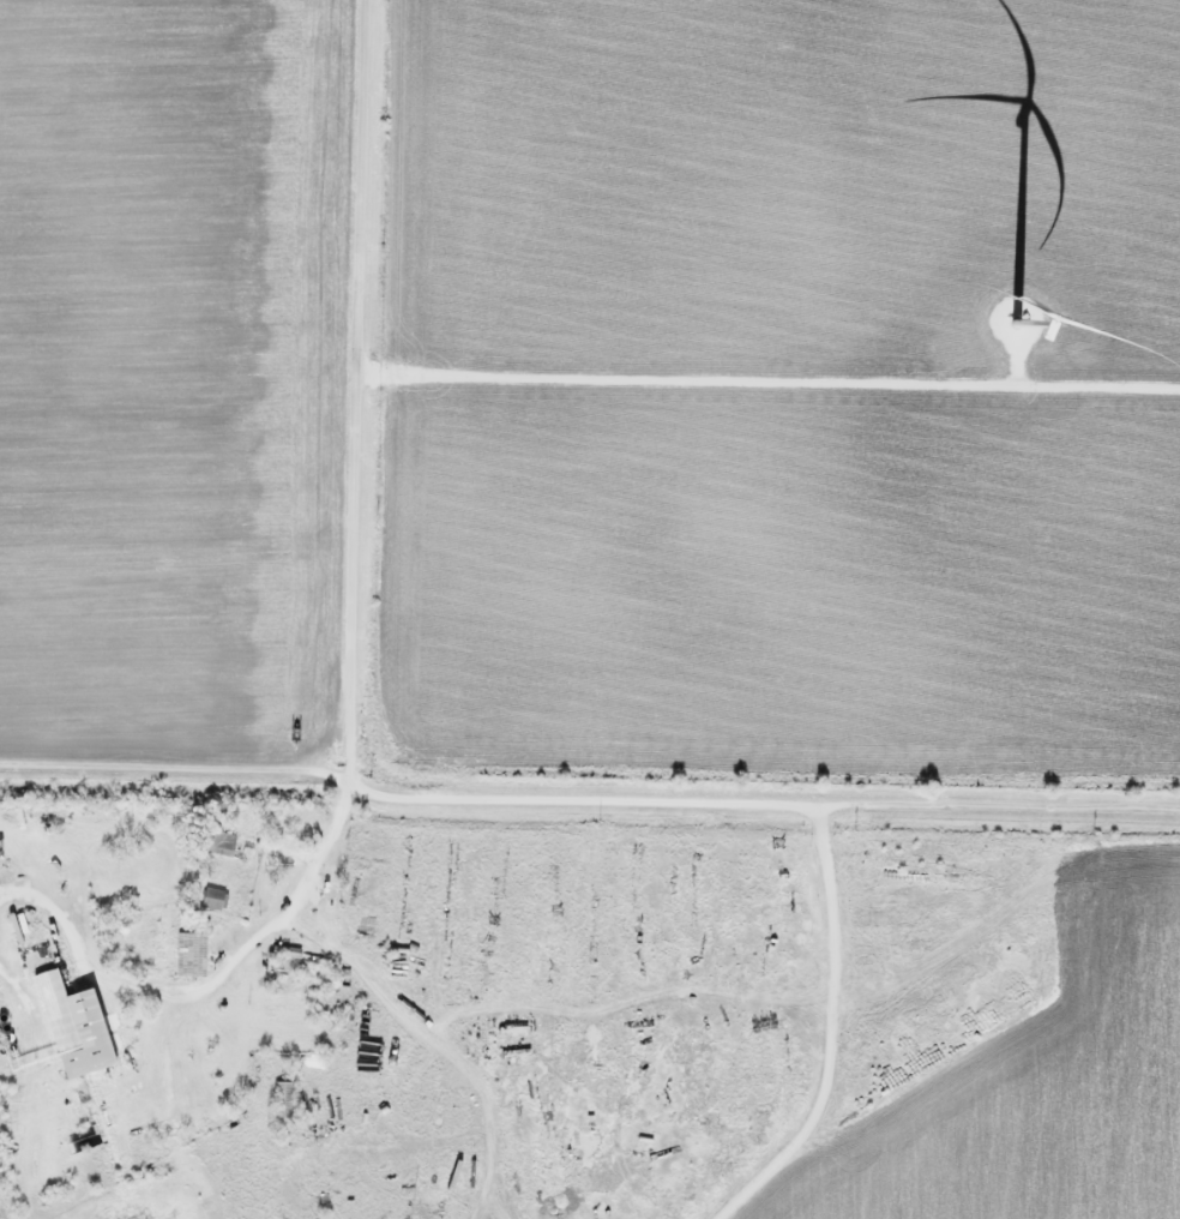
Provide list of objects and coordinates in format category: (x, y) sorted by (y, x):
wind turbine: (1019, 317)
road: (353, 791)
building: (219, 845)
building: (213, 900)
building: (191, 955)
building: (74, 1027)
building: (283, 1100)

